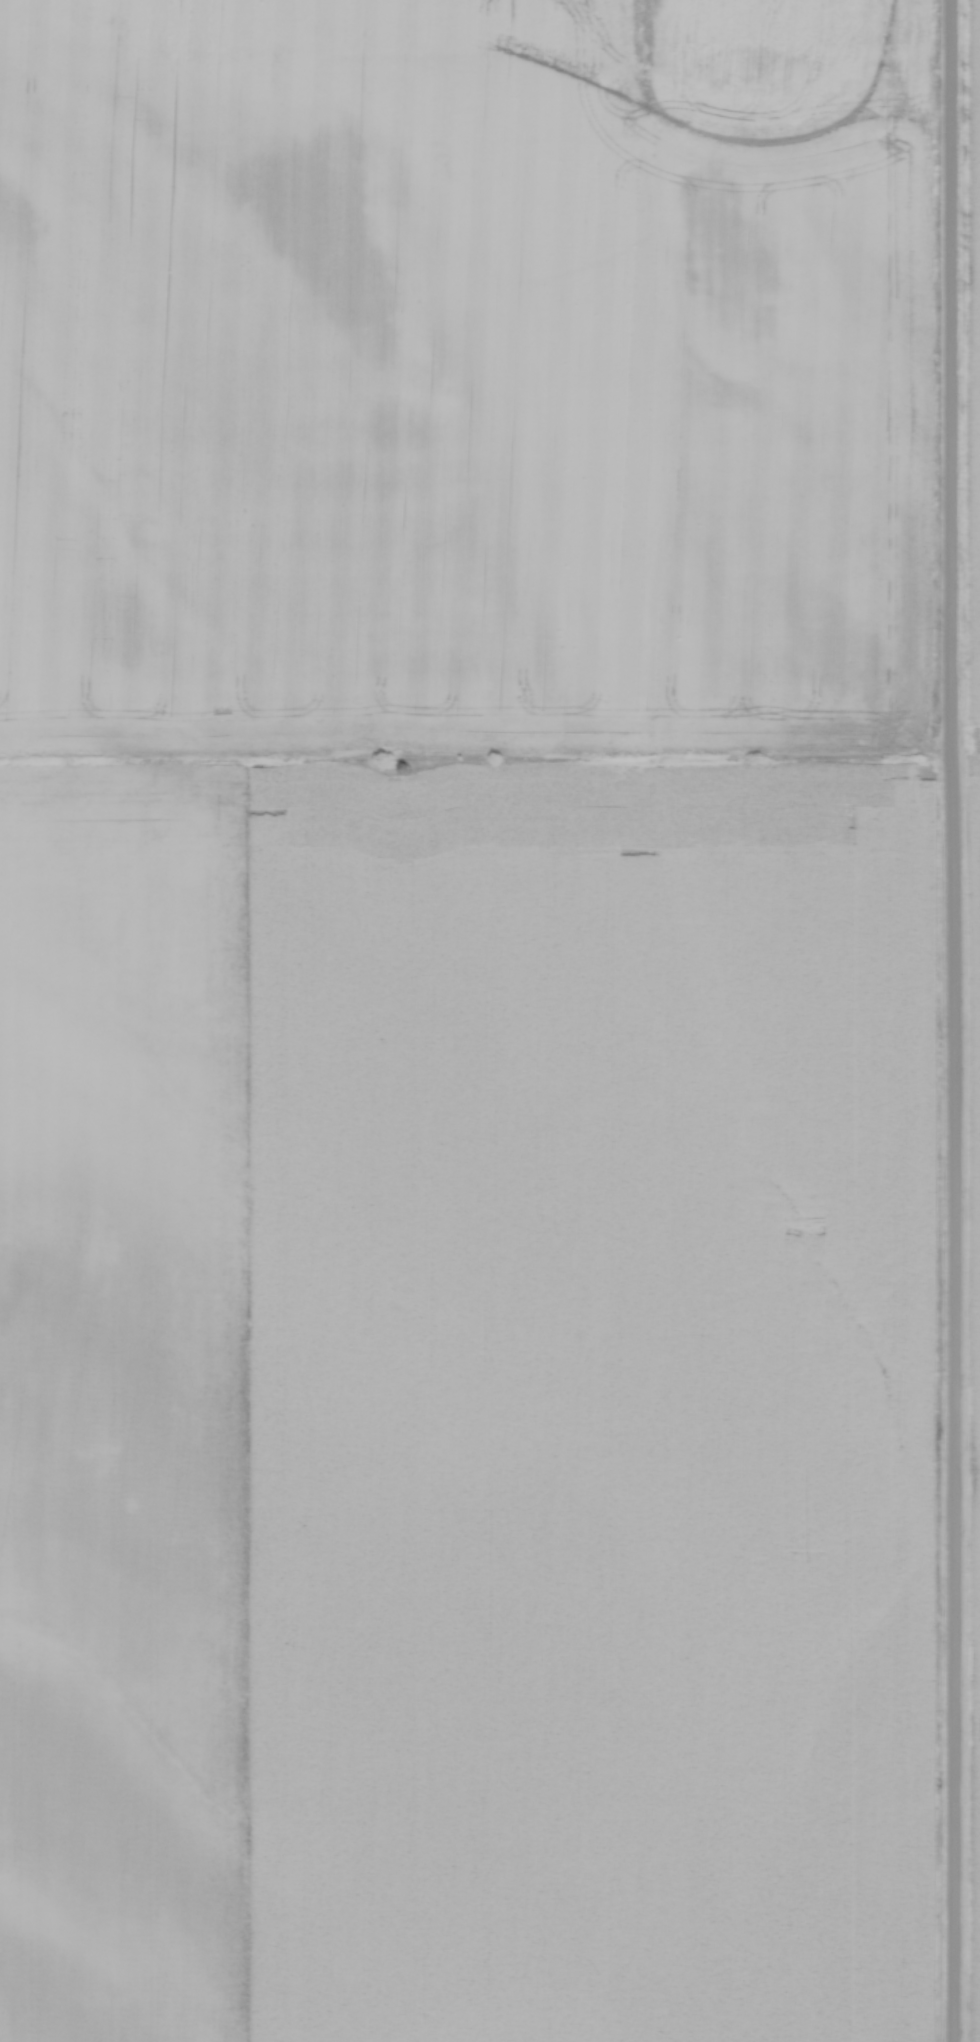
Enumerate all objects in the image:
road: (948, 1020)

